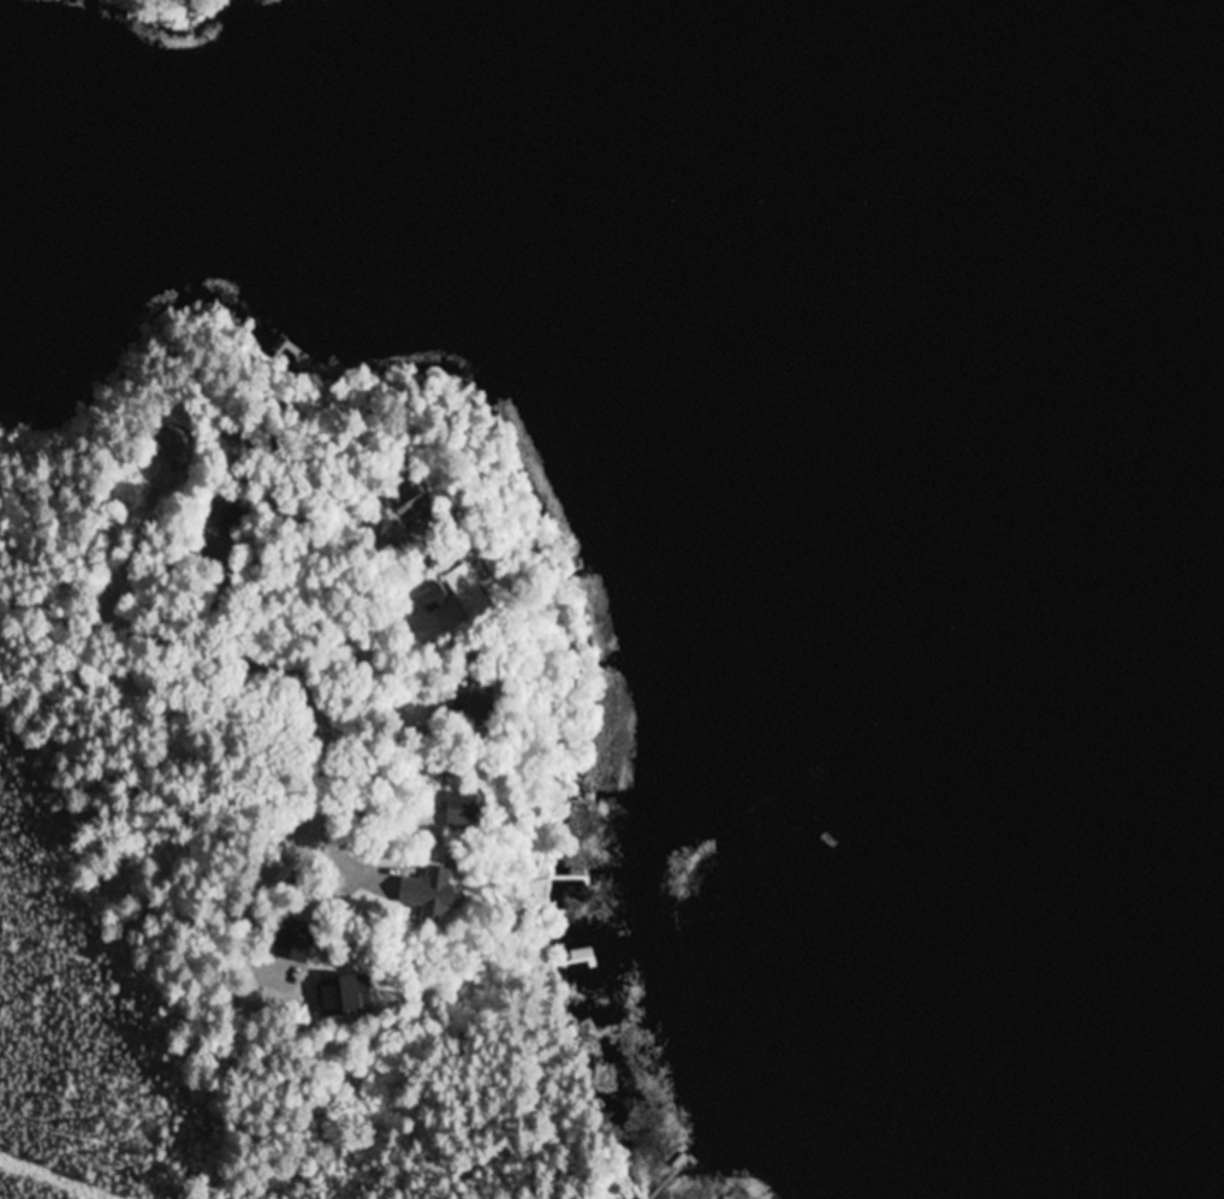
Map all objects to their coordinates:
building: (176, 450)
building: (411, 503)
building: (219, 529)
building: (469, 590)
road: (225, 655)
building: (481, 687)
building: (439, 764)
building: (463, 811)
building: (429, 894)

